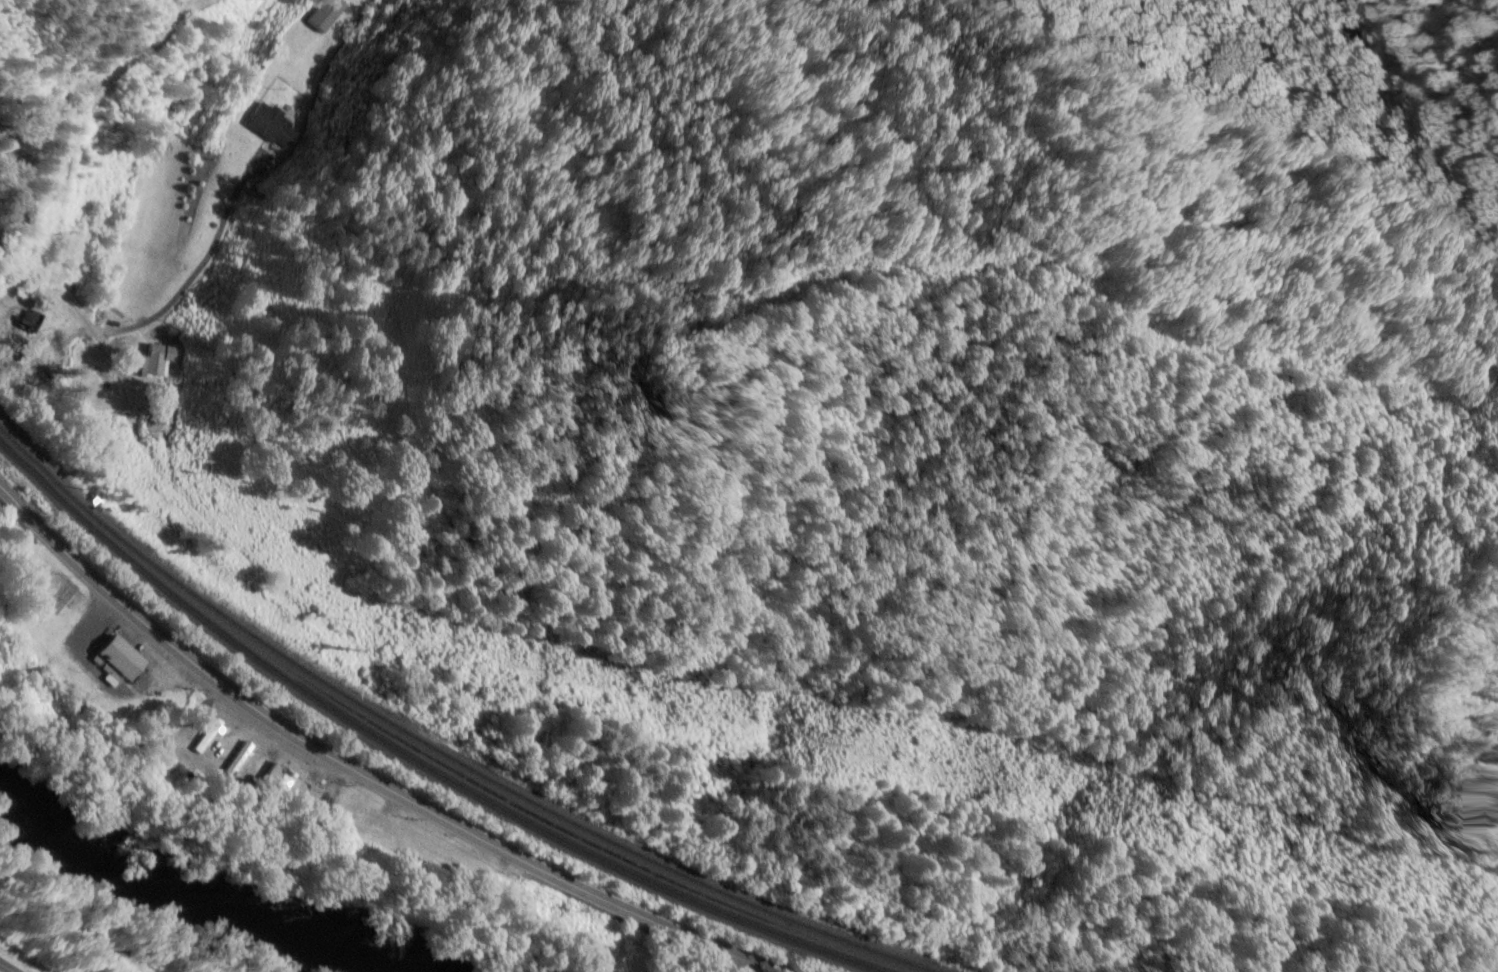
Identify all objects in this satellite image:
building: (322, 15)
building: (271, 128)
road: (153, 316)
building: (23, 321)
building: (155, 363)
building: (111, 663)
railway: (439, 750)
building: (179, 751)
building: (235, 756)
road: (360, 773)
building: (286, 787)
river: (180, 901)
road: (8, 967)

